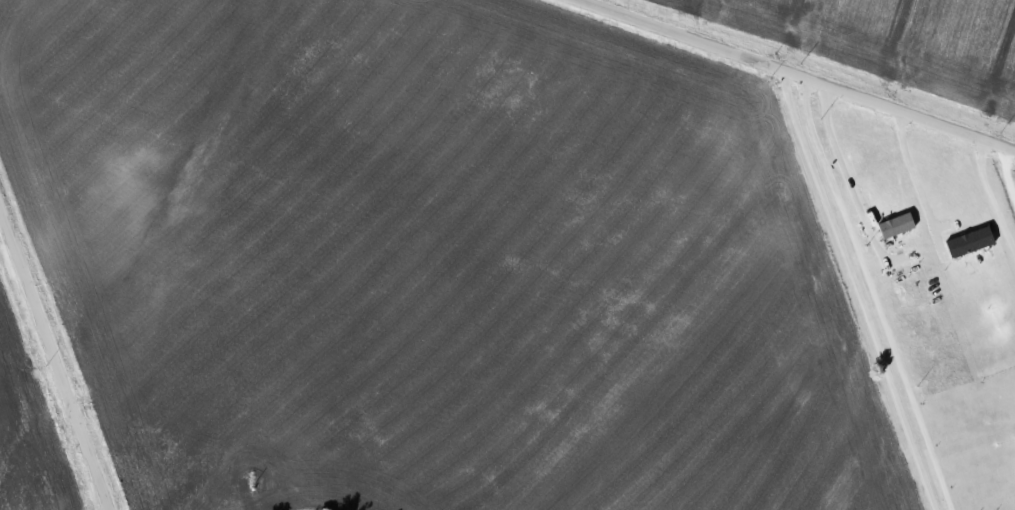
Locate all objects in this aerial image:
road: (799, 72)
road: (847, 176)
road: (915, 179)
road: (990, 197)
building: (898, 225)
road: (856, 289)
road: (873, 293)
road: (55, 359)

